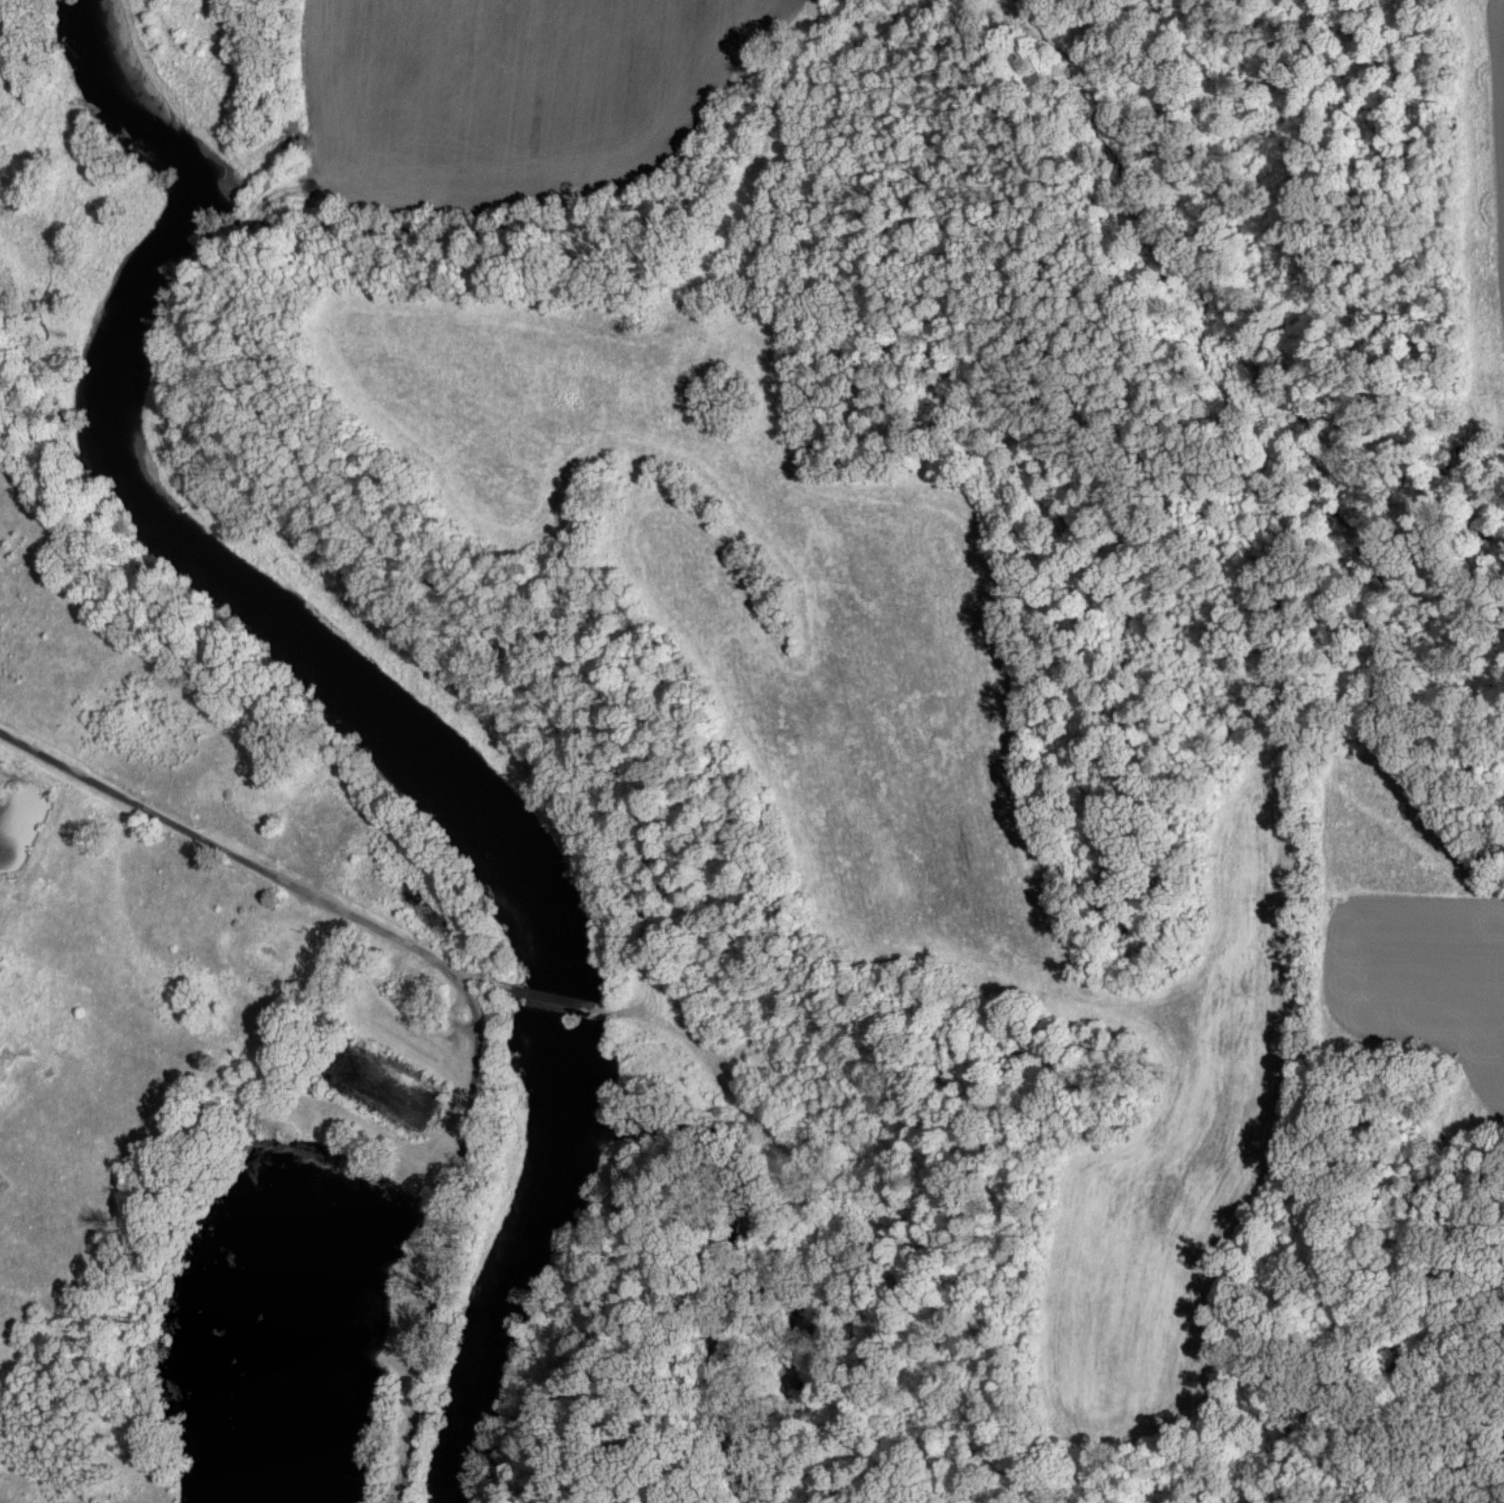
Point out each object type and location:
road: (300, 508)
river: (388, 713)
road: (459, 985)

